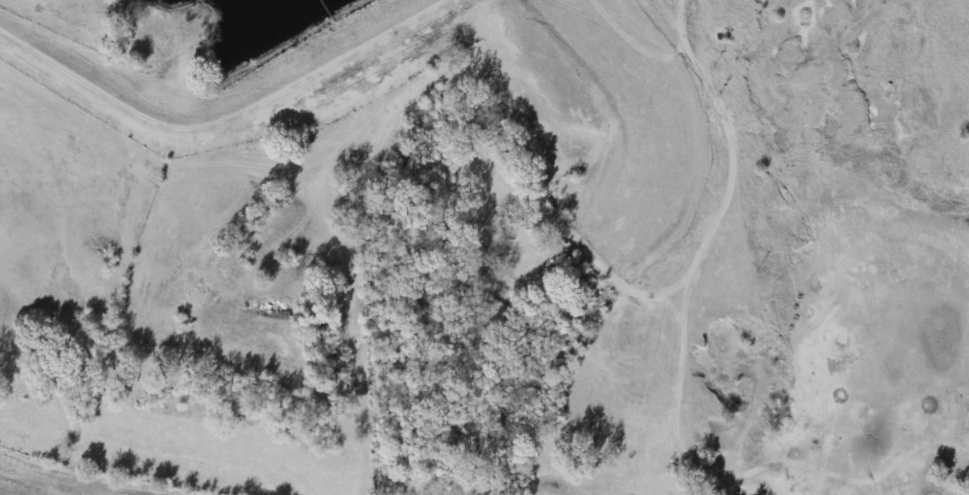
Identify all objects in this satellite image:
road: (644, 84)

